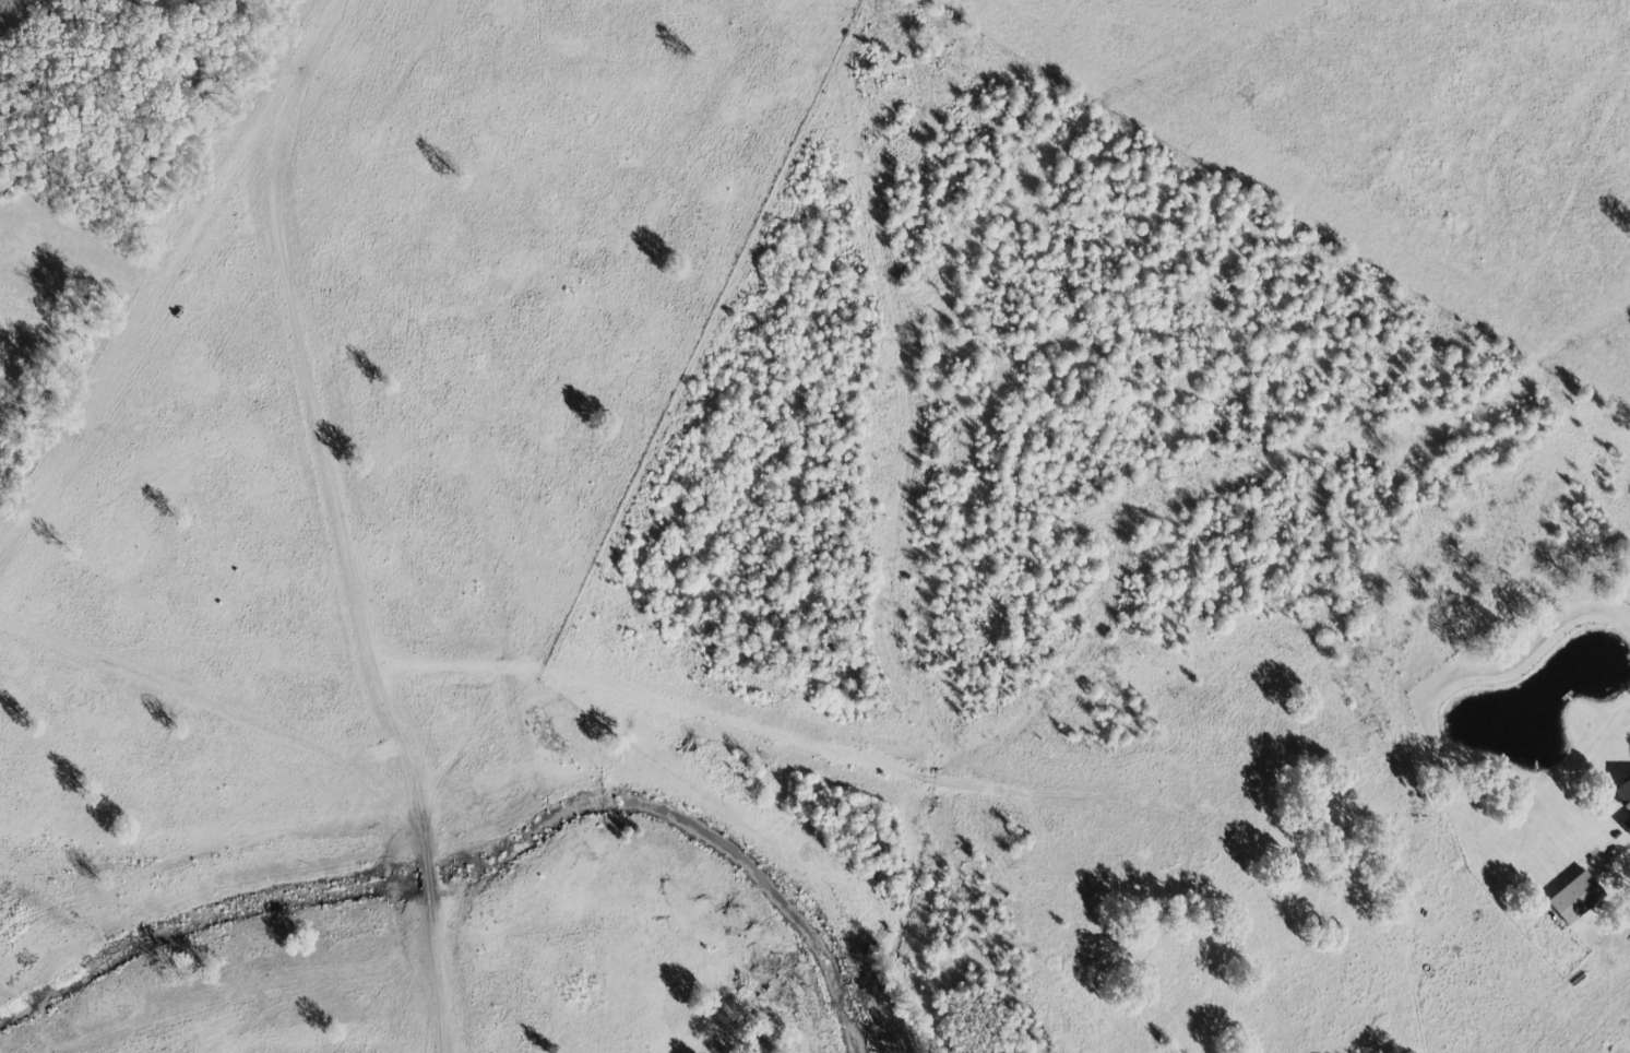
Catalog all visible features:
building: (1622, 826)
building: (1572, 899)

